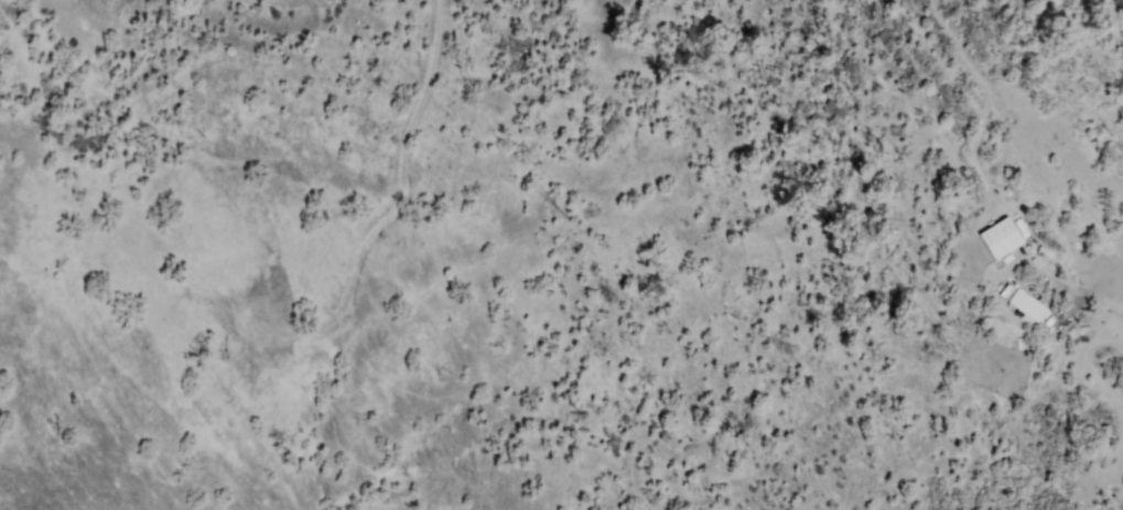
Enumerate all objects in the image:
building: (1005, 237)
building: (1047, 251)
building: (1073, 253)
building: (1028, 306)
building: (1023, 345)

